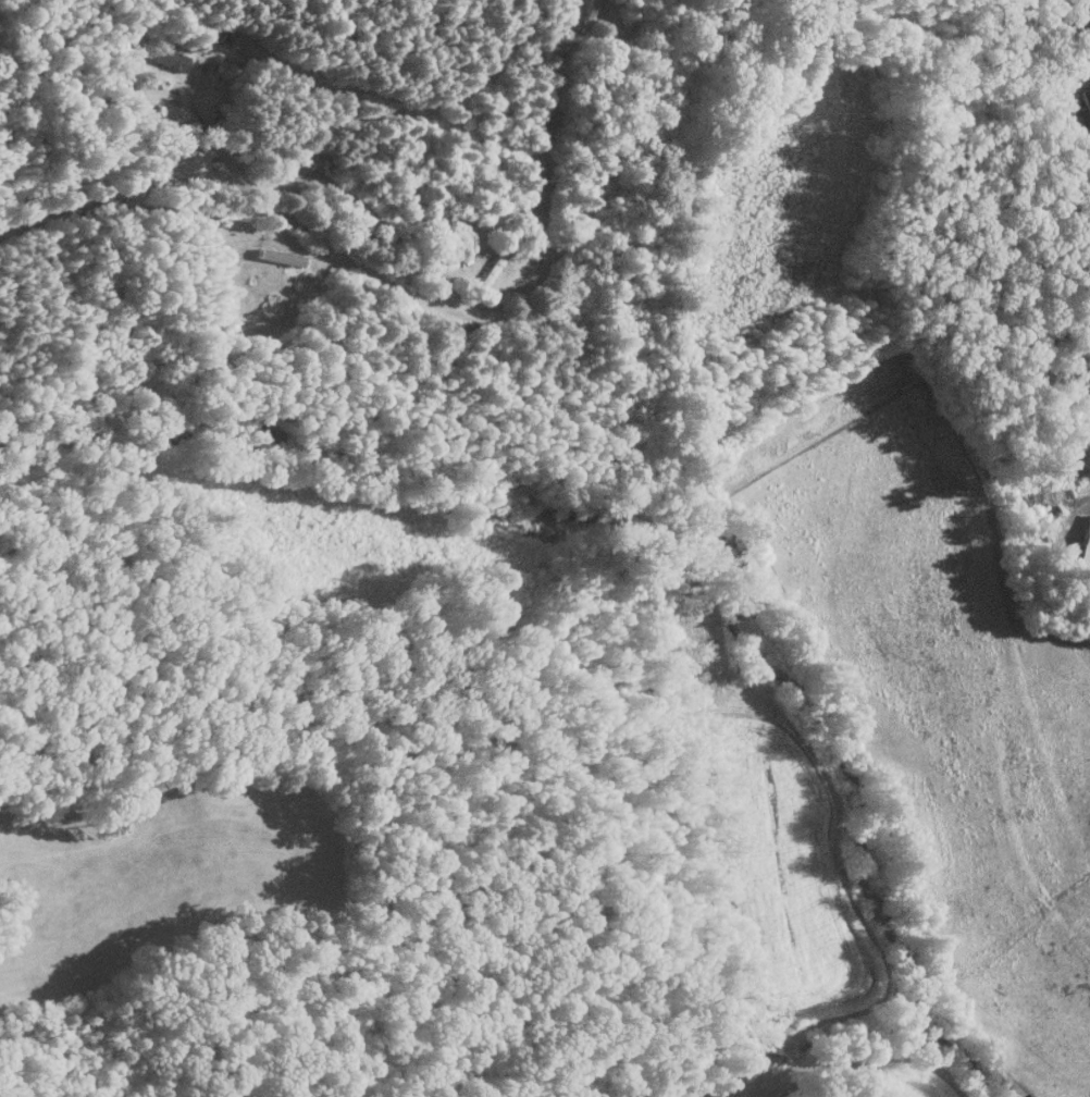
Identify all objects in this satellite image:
road: (1089, 14)
building: (168, 57)
building: (1085, 100)
building: (277, 256)
road: (420, 299)
building: (1082, 553)

